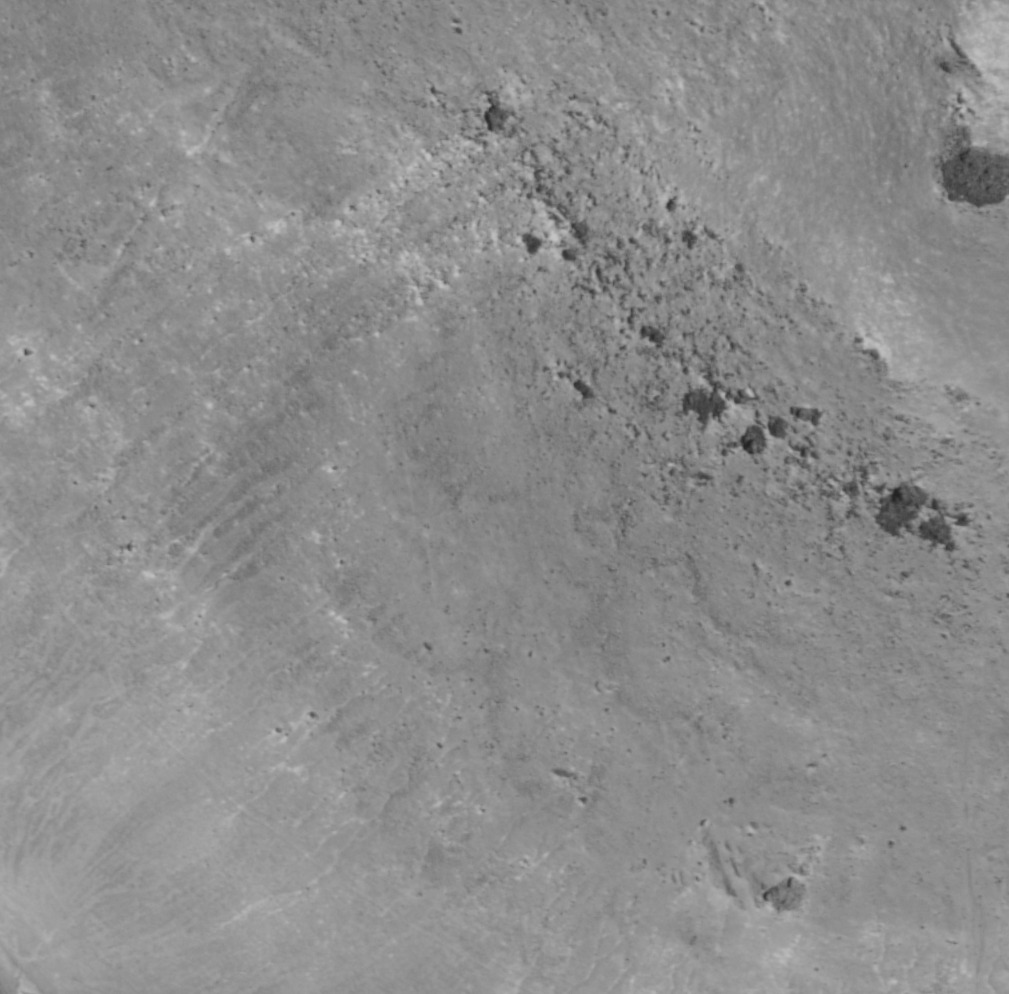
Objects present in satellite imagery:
crop: (291, 827)

